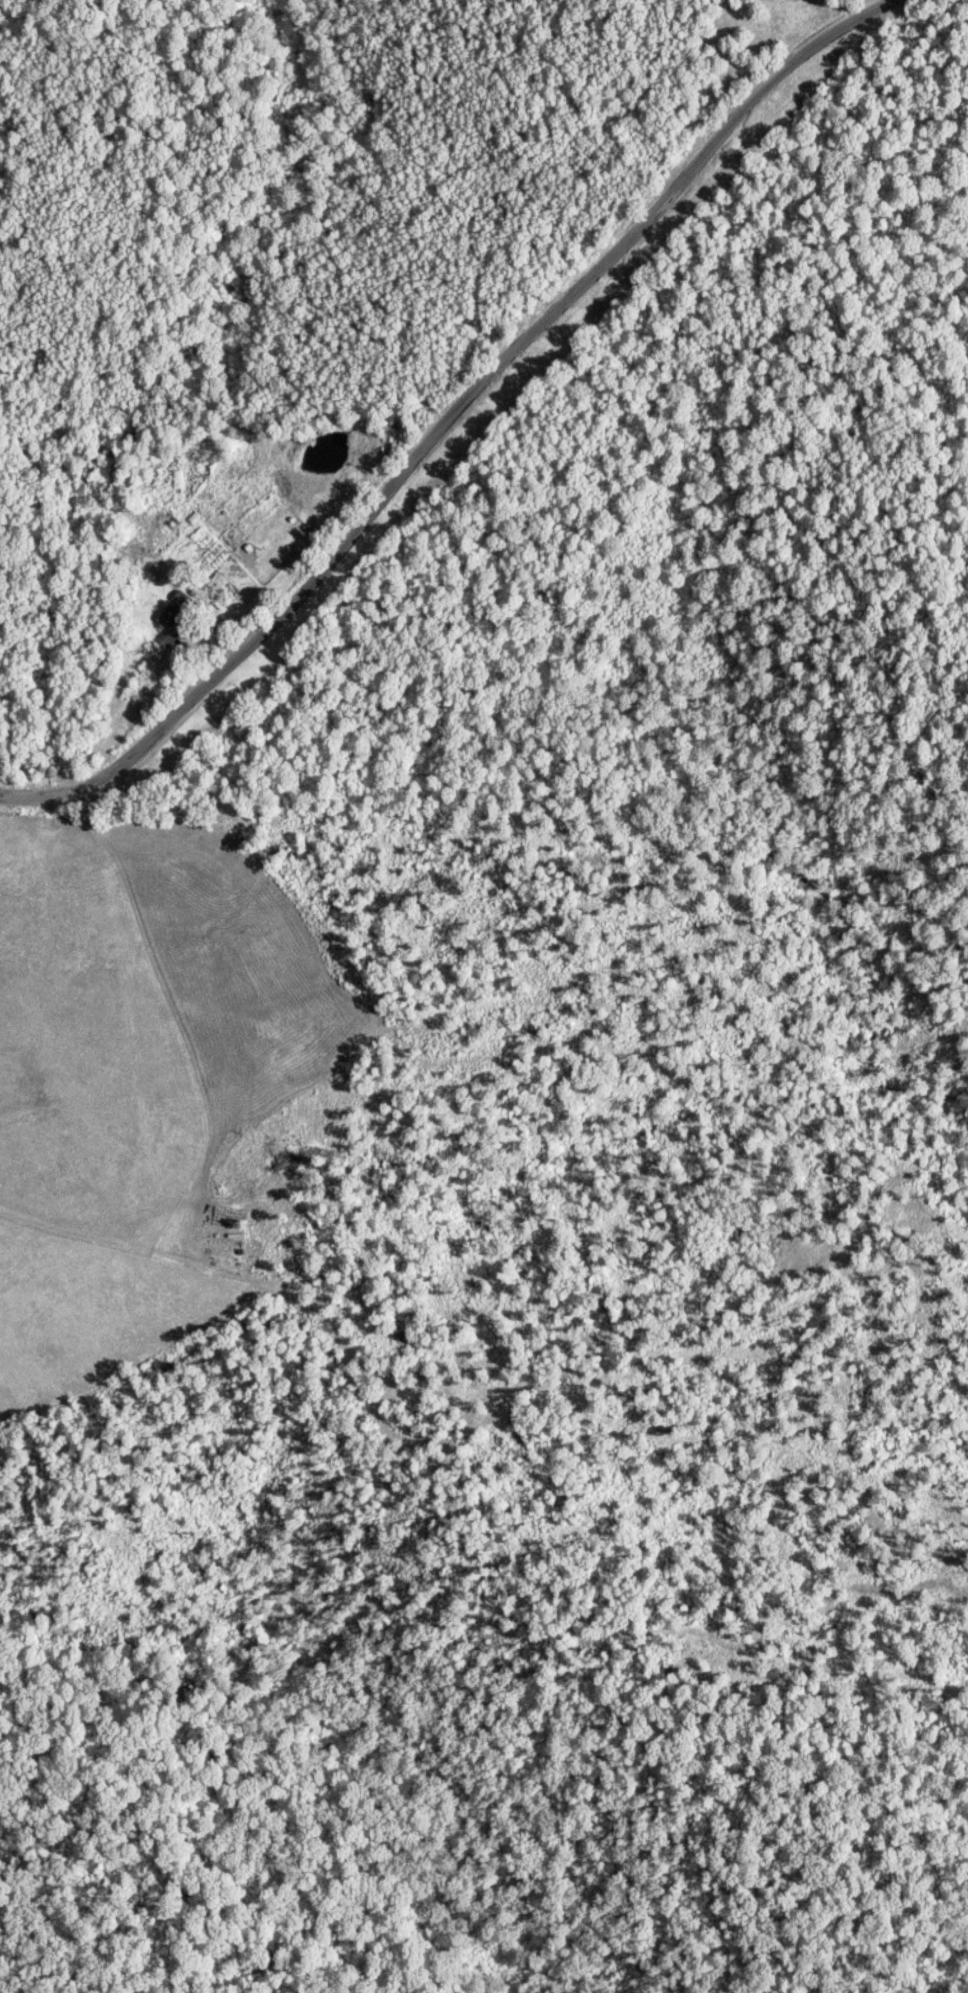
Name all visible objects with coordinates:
road: (457, 416)

